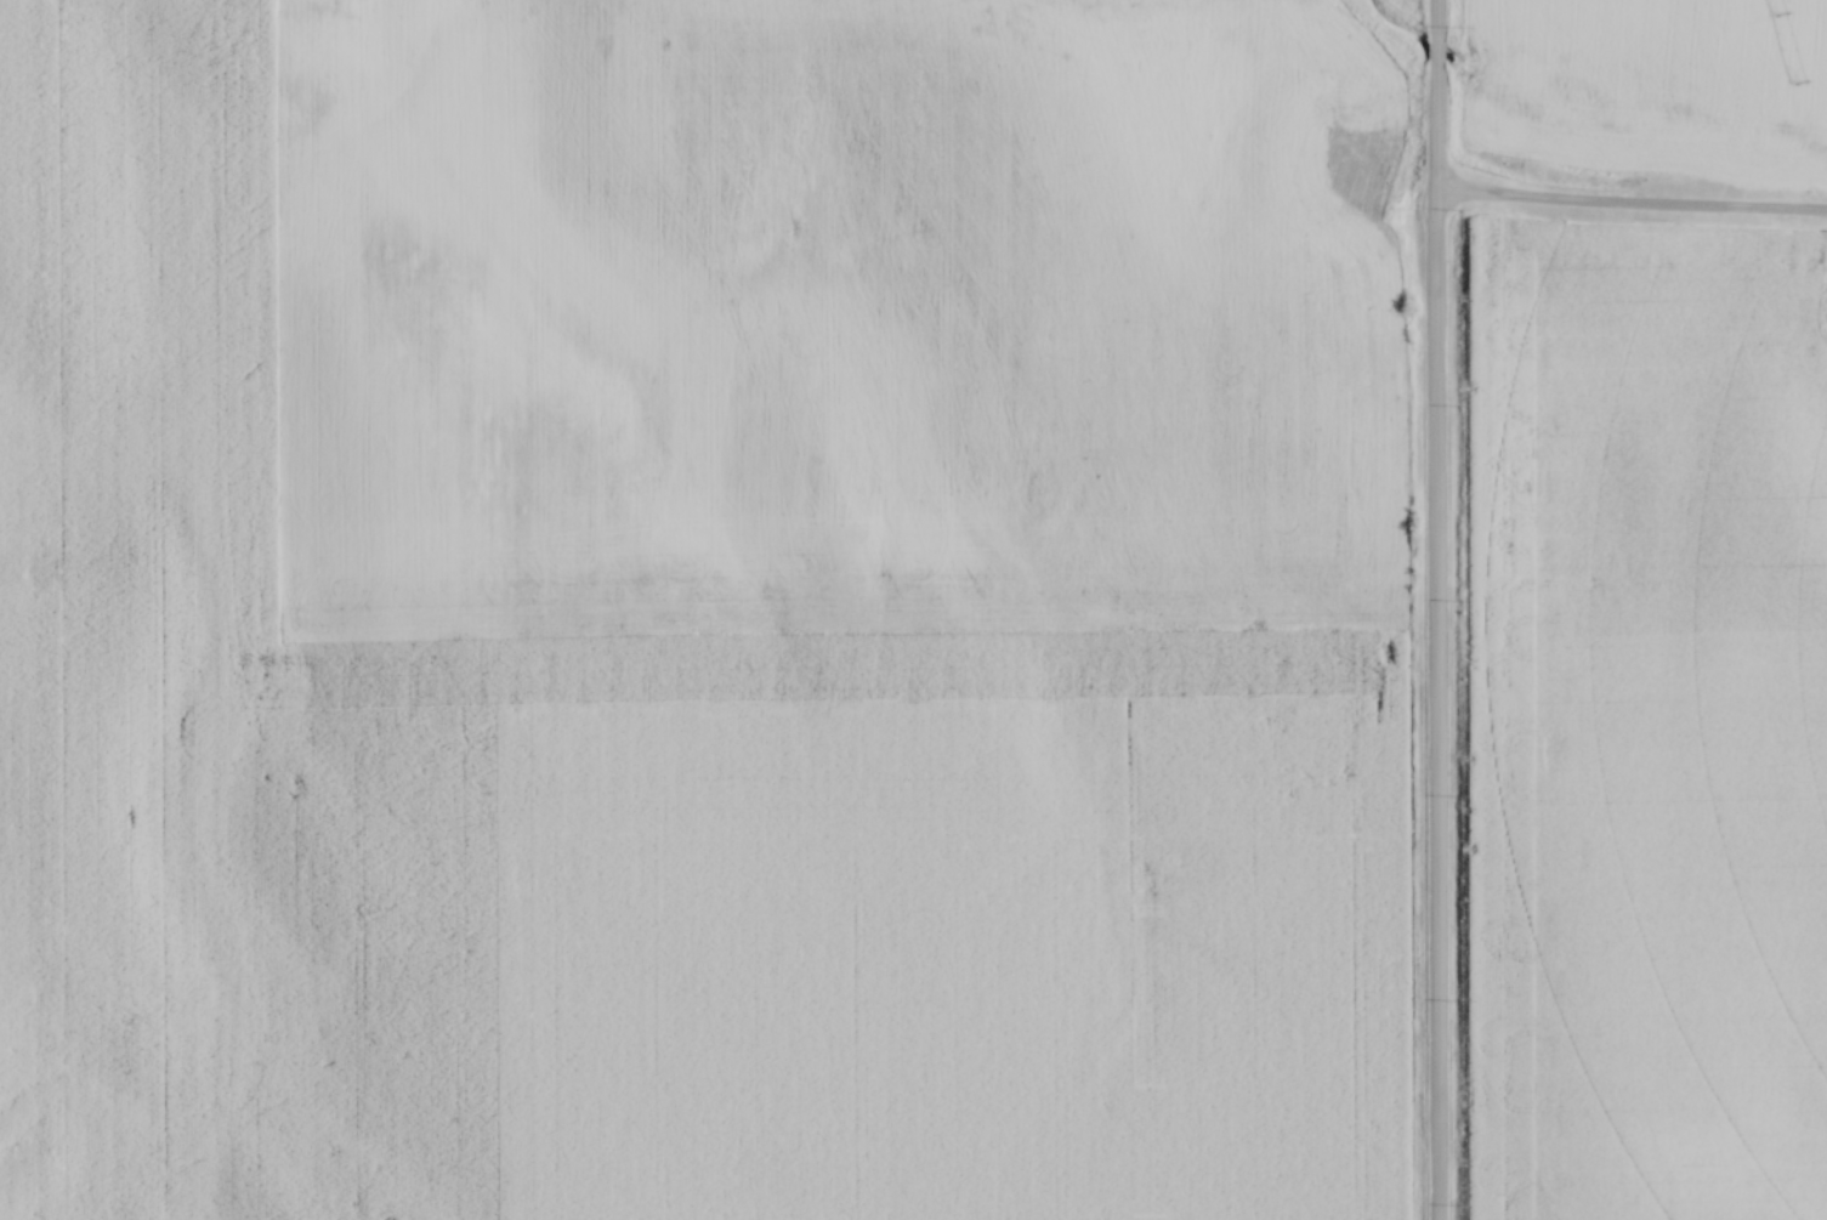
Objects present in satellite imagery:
road: (1630, 212)
road: (1435, 609)

